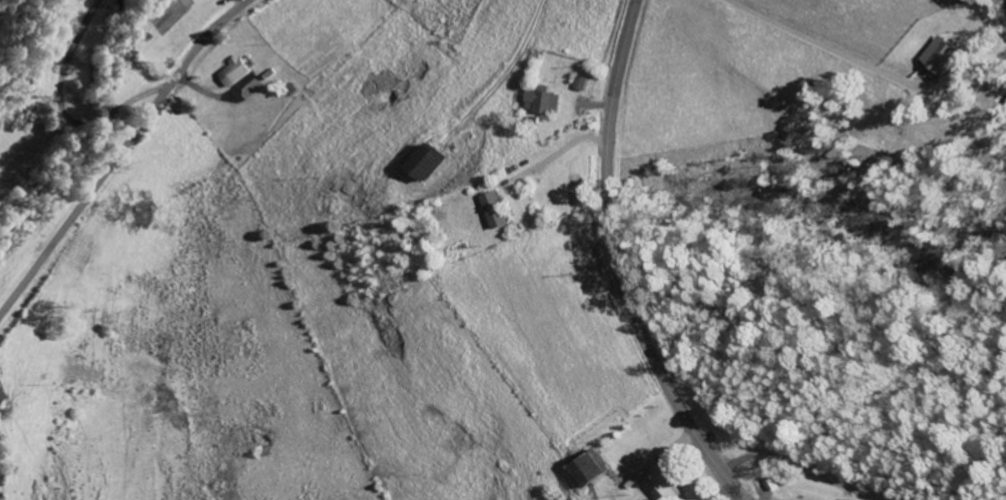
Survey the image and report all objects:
road: (835, 48)
building: (942, 56)
building: (236, 73)
building: (580, 85)
building: (542, 103)
road: (121, 153)
building: (423, 164)
building: (494, 211)
road: (618, 266)
building: (1, 397)
road: (808, 466)
building: (590, 470)
building: (665, 486)

